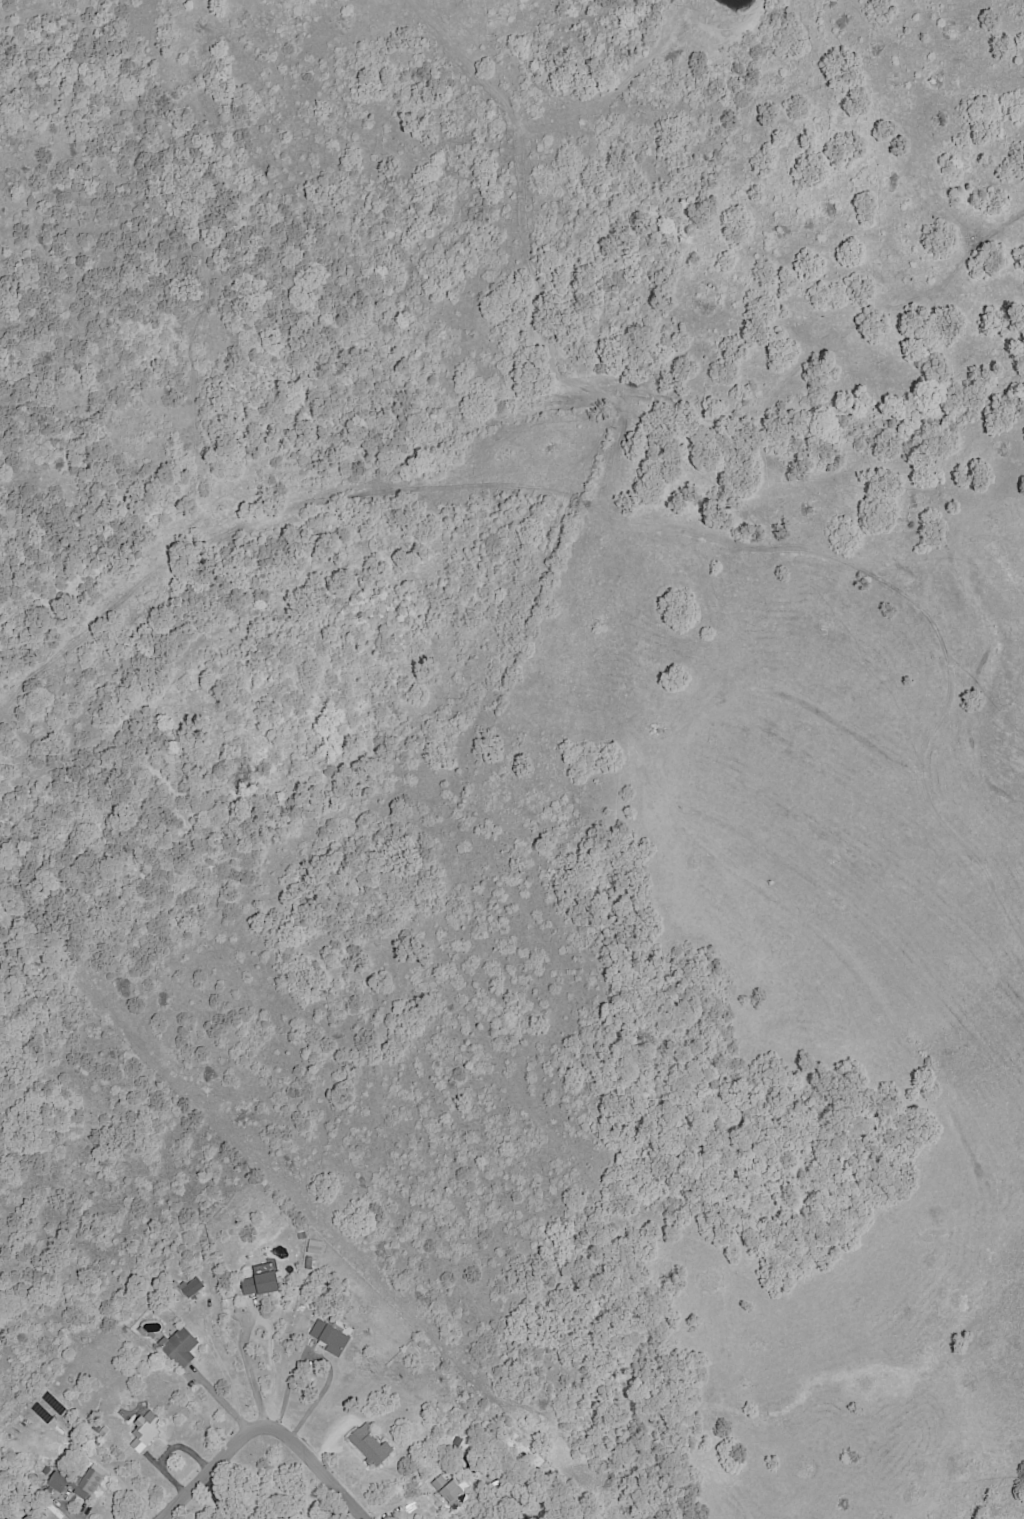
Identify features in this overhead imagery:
building: (314, 1248)
building: (191, 1288)
building: (329, 1338)
building: (179, 1347)
road: (319, 1362)
road: (221, 1369)
road: (251, 1377)
road: (261, 1425)
building: (144, 1432)
building: (369, 1446)
road: (165, 1452)
building: (92, 1479)
building: (450, 1492)

